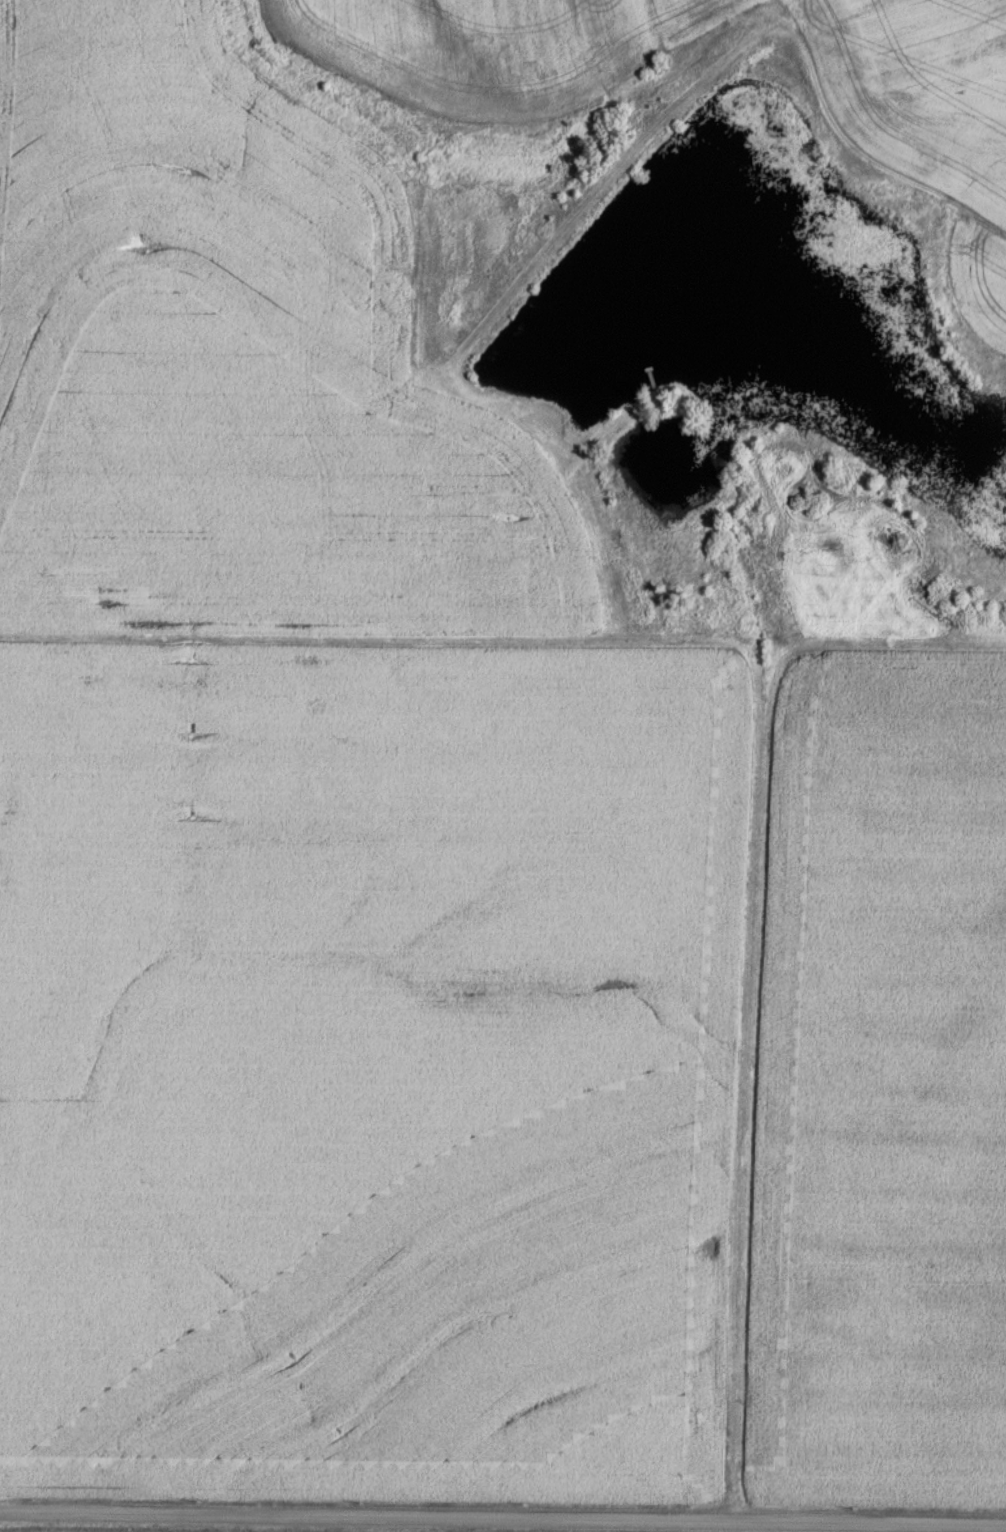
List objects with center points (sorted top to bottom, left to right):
road: (502, 1520)

